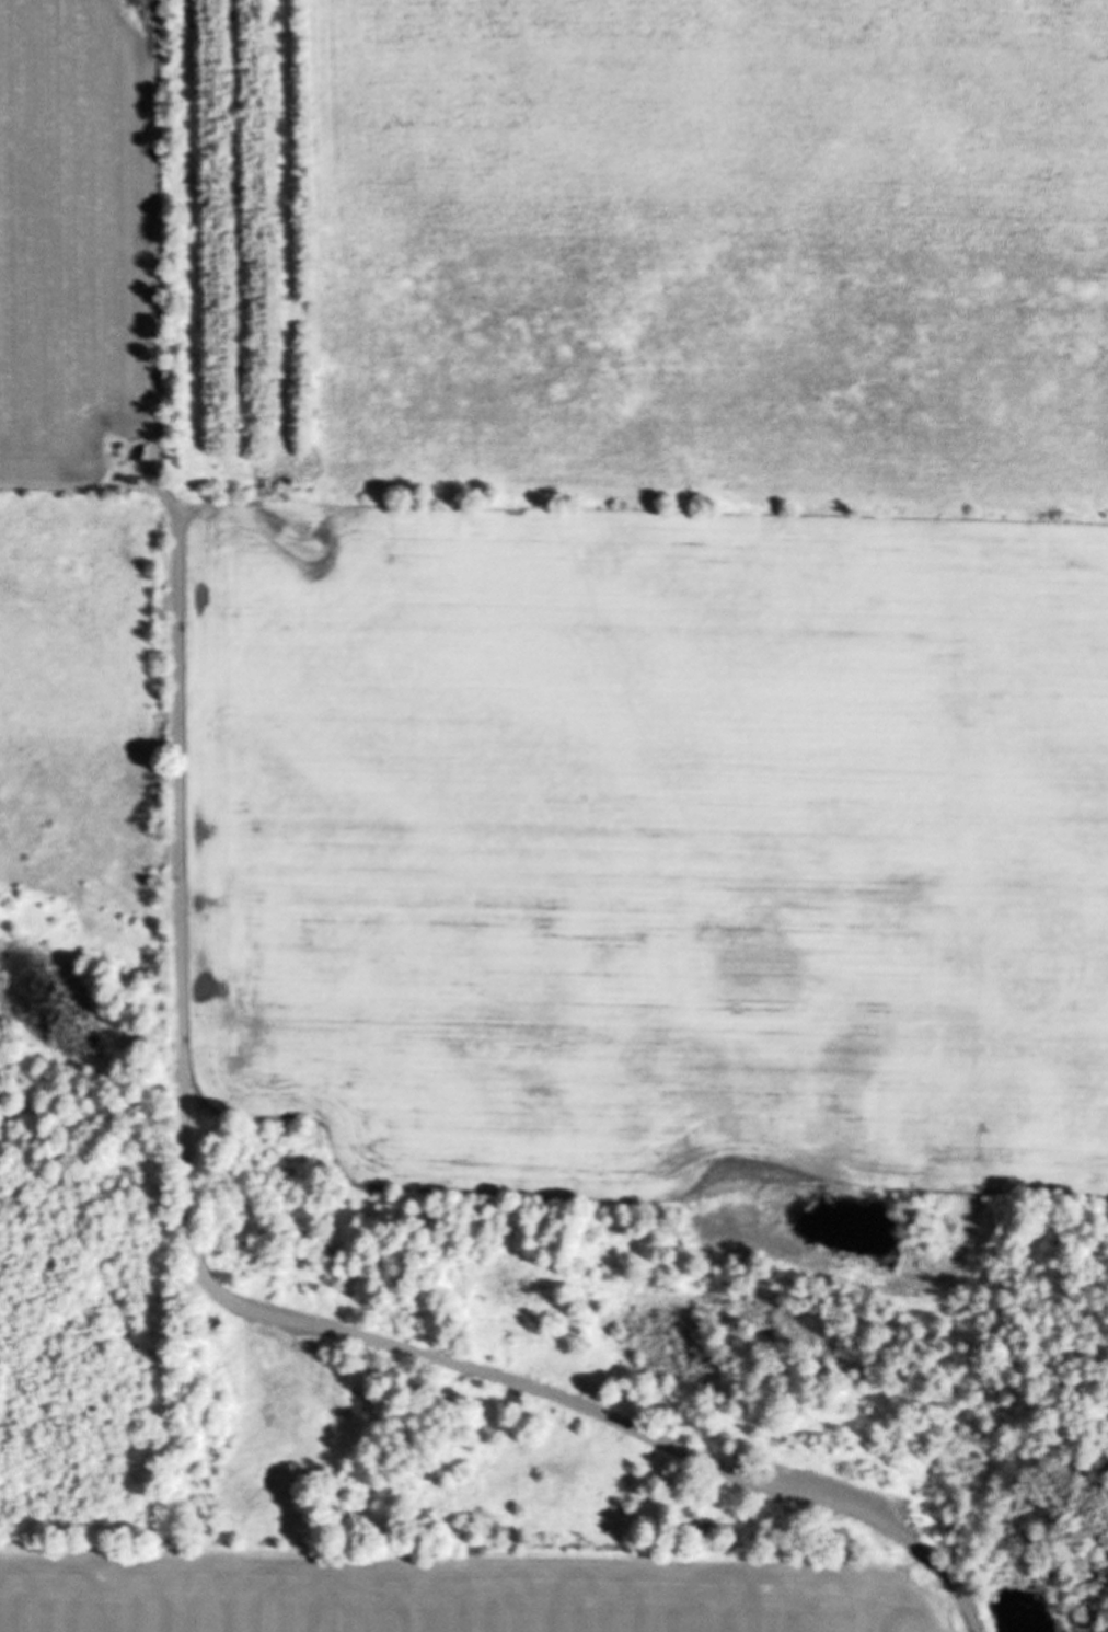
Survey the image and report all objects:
building: (38, 90)
building: (11, 267)
building: (754, 953)
building: (401, 990)
building: (279, 1008)
building: (567, 1036)

